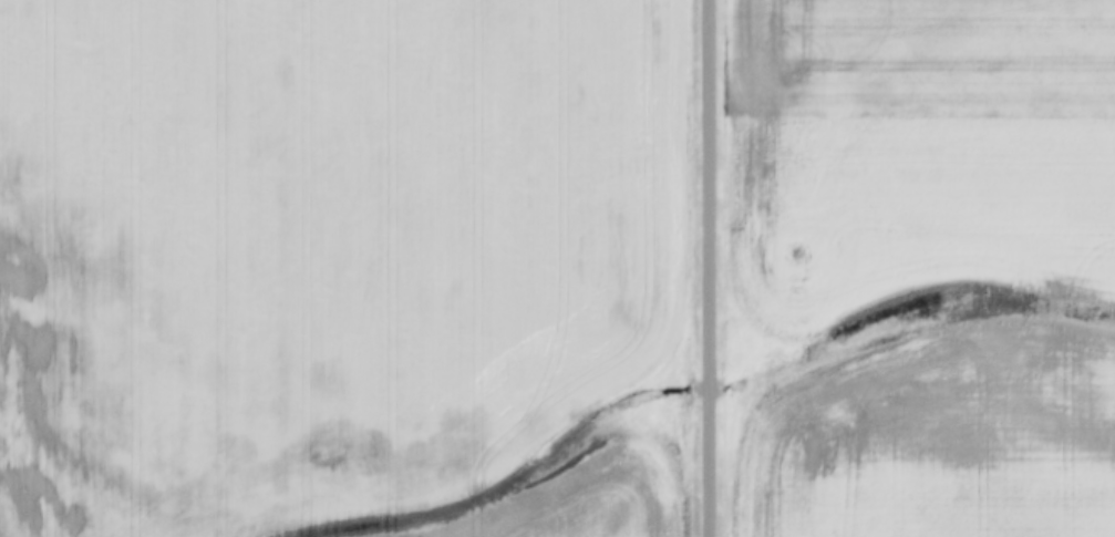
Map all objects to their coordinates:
road: (708, 268)

